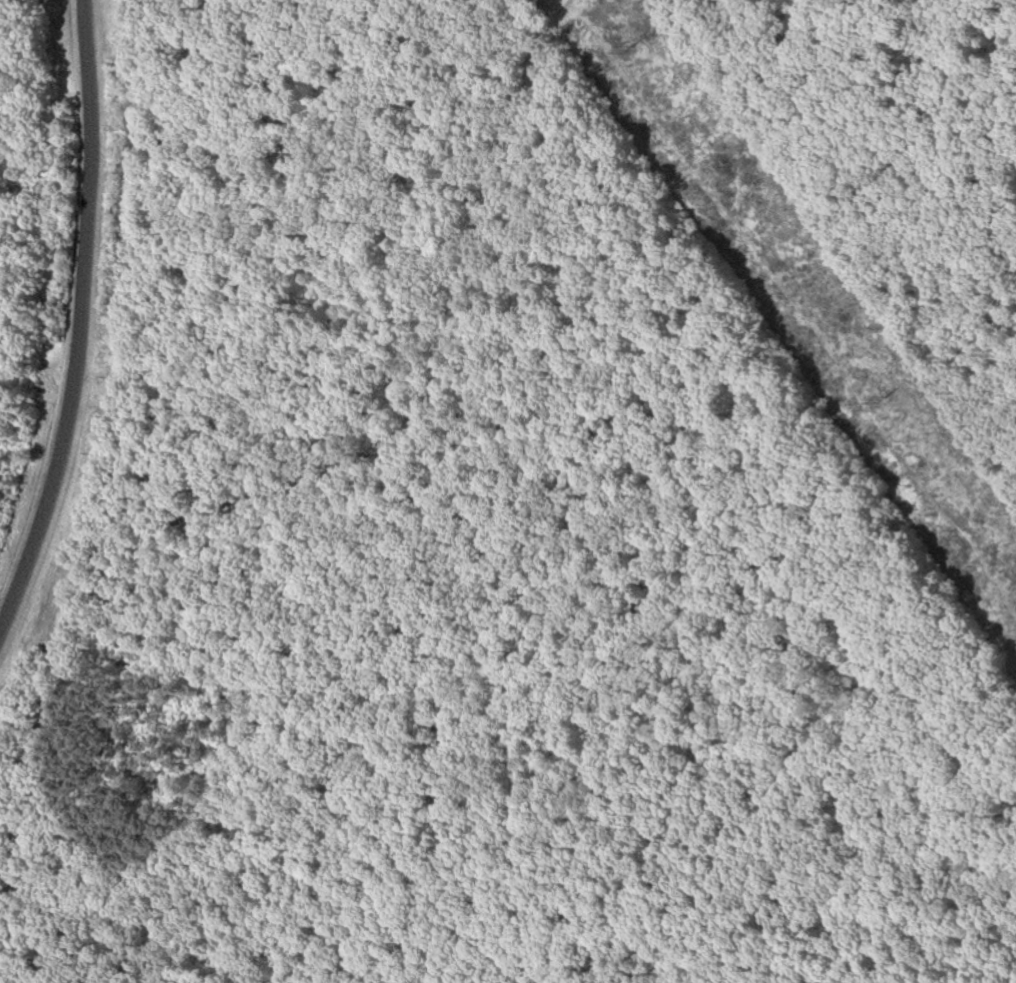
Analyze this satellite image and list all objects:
road: (83, 322)
road: (282, 492)

